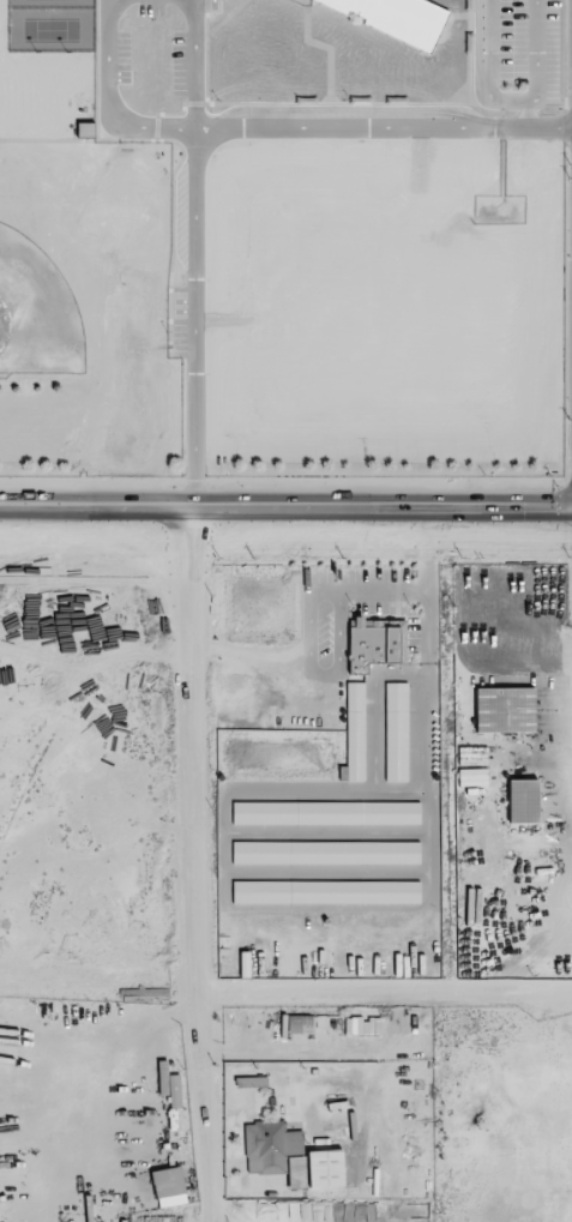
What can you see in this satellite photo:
road: (109, 2)
building: (393, 19)
park: (49, 29)
parking lot: (526, 52)
road: (194, 61)
road: (510, 98)
road: (106, 102)
road: (383, 125)
building: (85, 128)
park: (36, 312)
road: (194, 314)
road: (285, 506)
road: (183, 534)
road: (470, 544)
traffic signals: (547, 544)
road: (404, 591)
building: (372, 643)
road: (251, 652)
road: (523, 657)
road: (314, 668)
building: (501, 710)
building: (393, 732)
building: (351, 733)
building: (472, 777)
building: (519, 801)
building: (323, 813)
building: (324, 853)
road: (188, 863)
building: (324, 891)
road: (285, 997)
building: (297, 1023)
building: (362, 1025)
building: (174, 1091)
building: (269, 1146)
building: (325, 1168)
building: (296, 1170)
building: (168, 1187)

